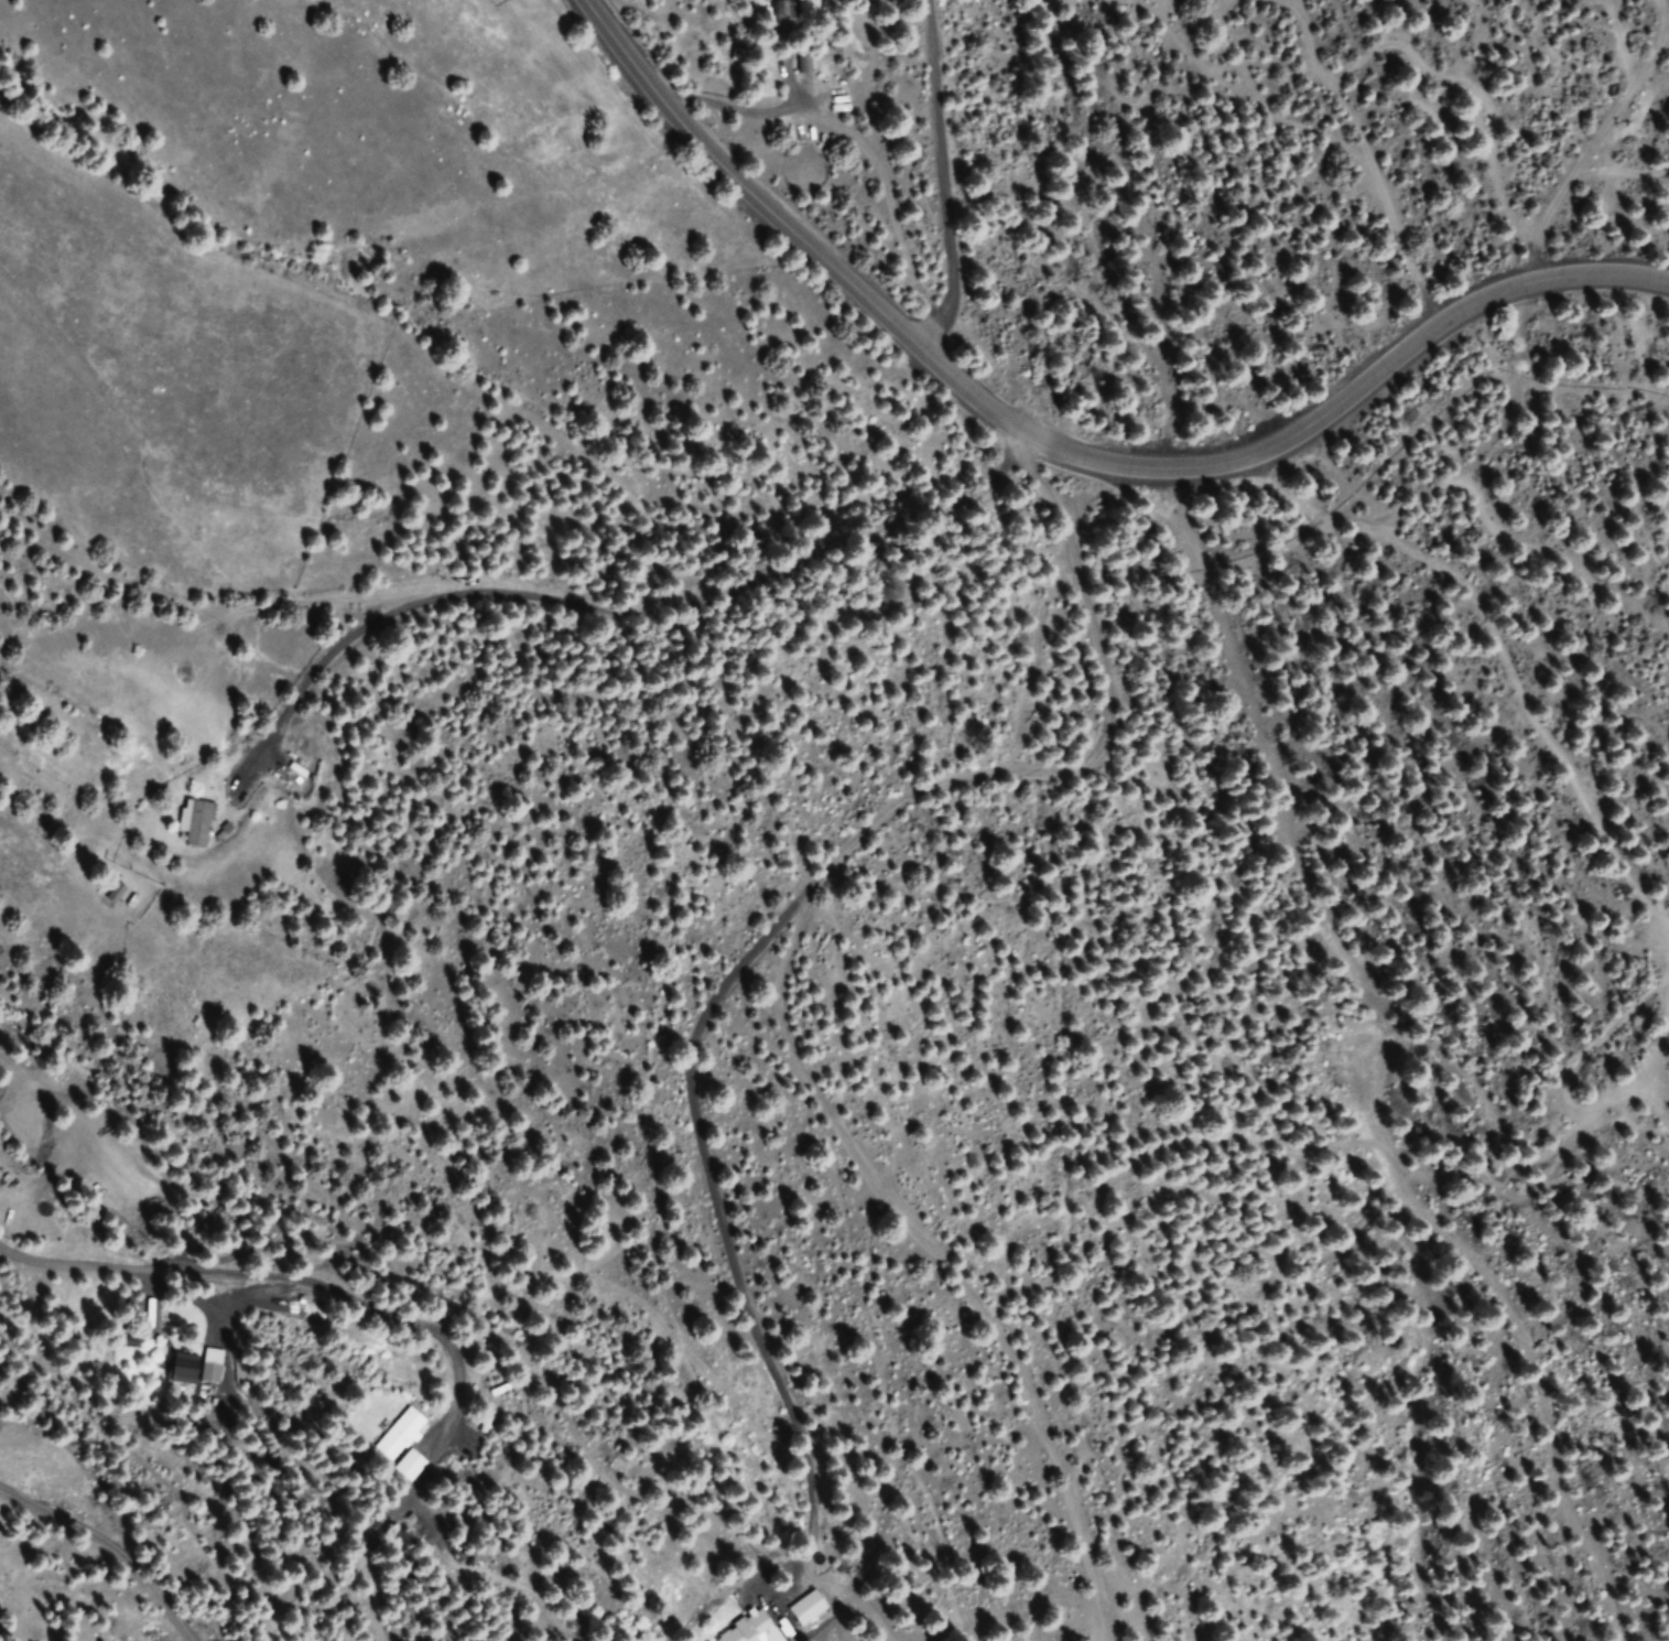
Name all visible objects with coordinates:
road: (1064, 452)
road: (630, 595)
building: (195, 822)
road: (821, 1012)
road: (437, 1343)
building: (177, 1371)
building: (398, 1435)
building: (806, 1608)
building: (745, 1629)

